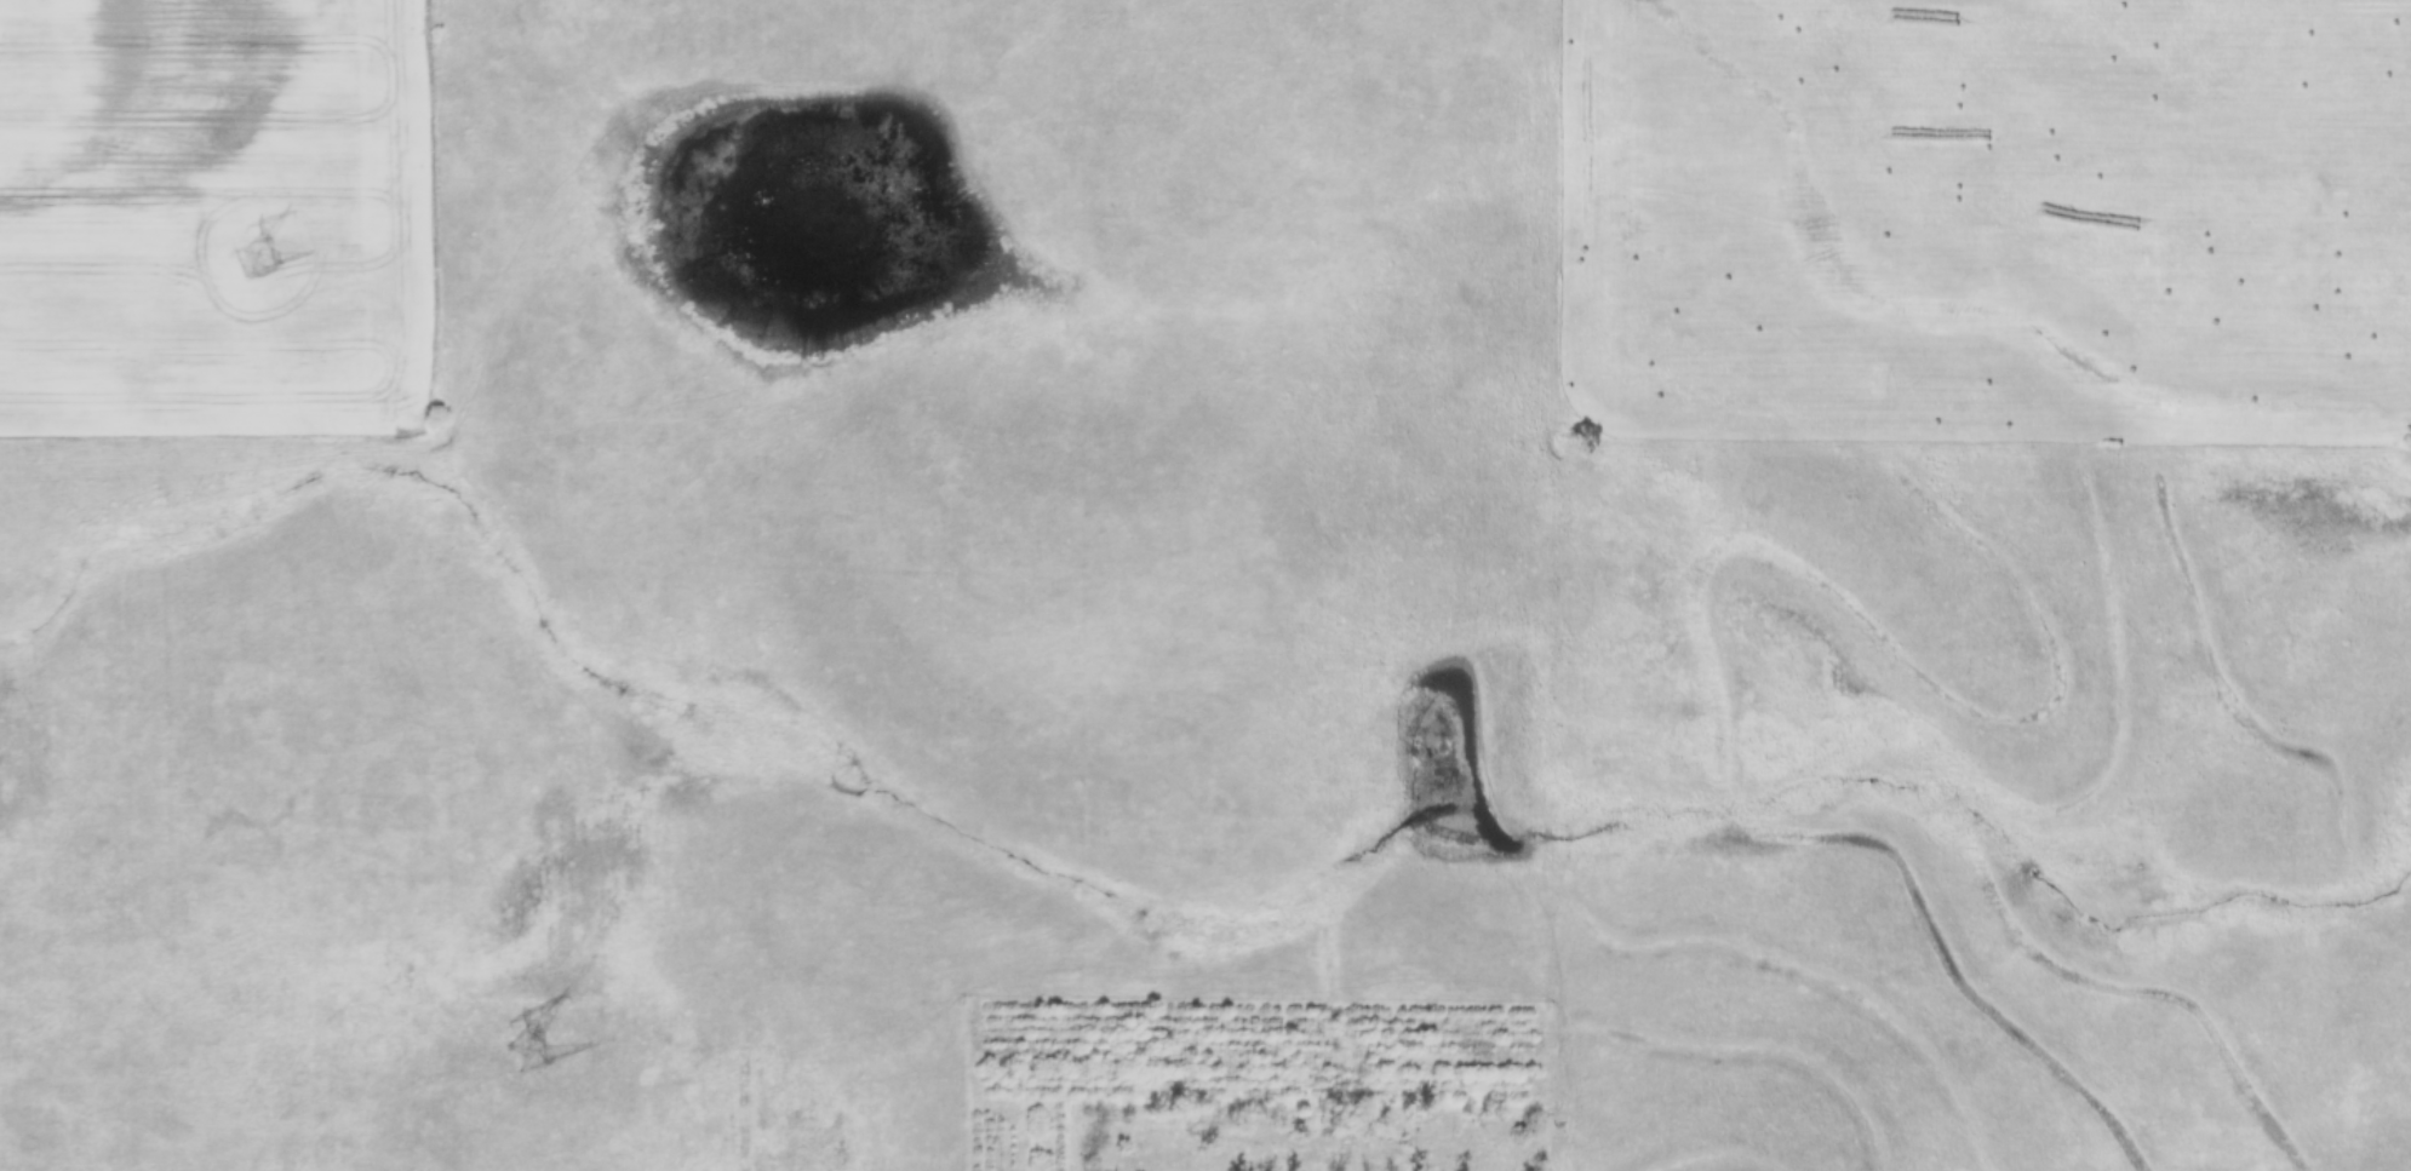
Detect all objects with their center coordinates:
power tower: (251, 240)
power tower: (529, 1051)

